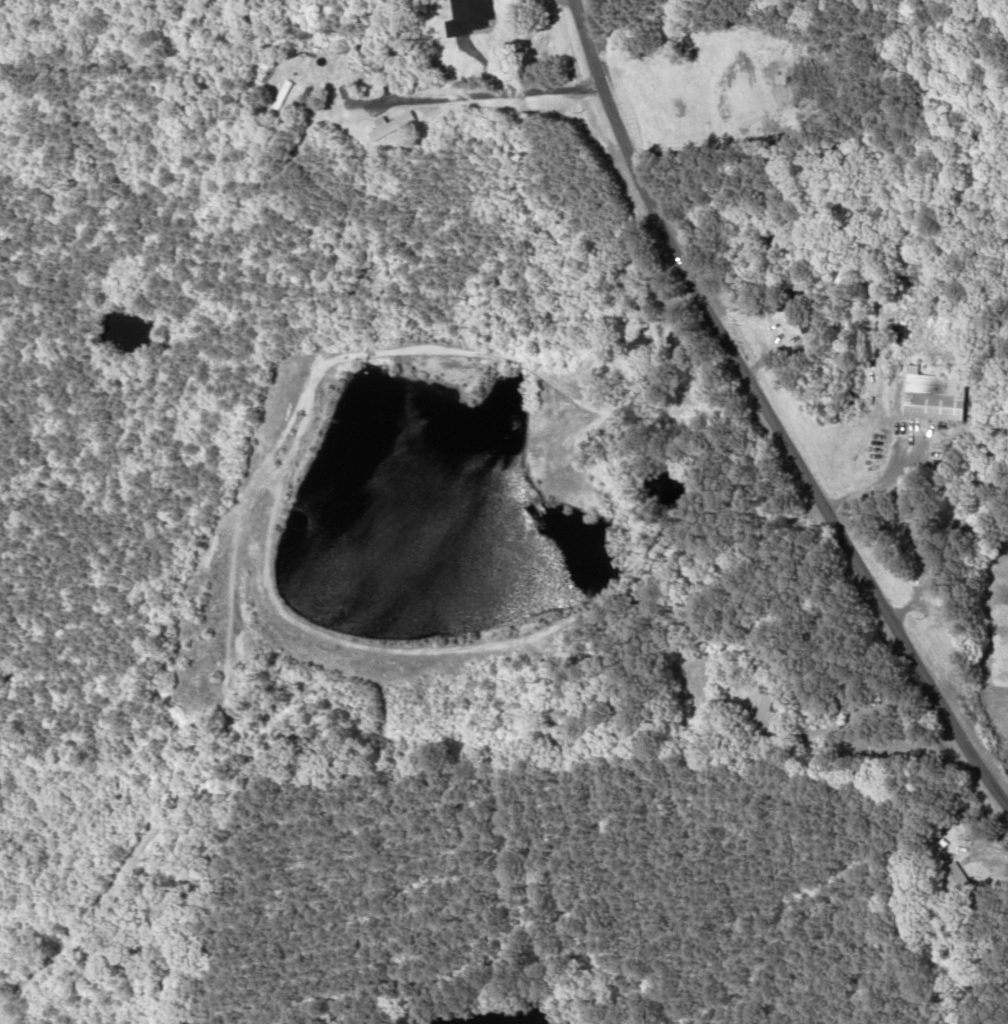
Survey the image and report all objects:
building: (496, 2)
building: (308, 102)
building: (392, 127)
building: (638, 340)
building: (933, 396)
road: (767, 416)
building: (924, 550)
building: (760, 712)
building: (953, 876)

